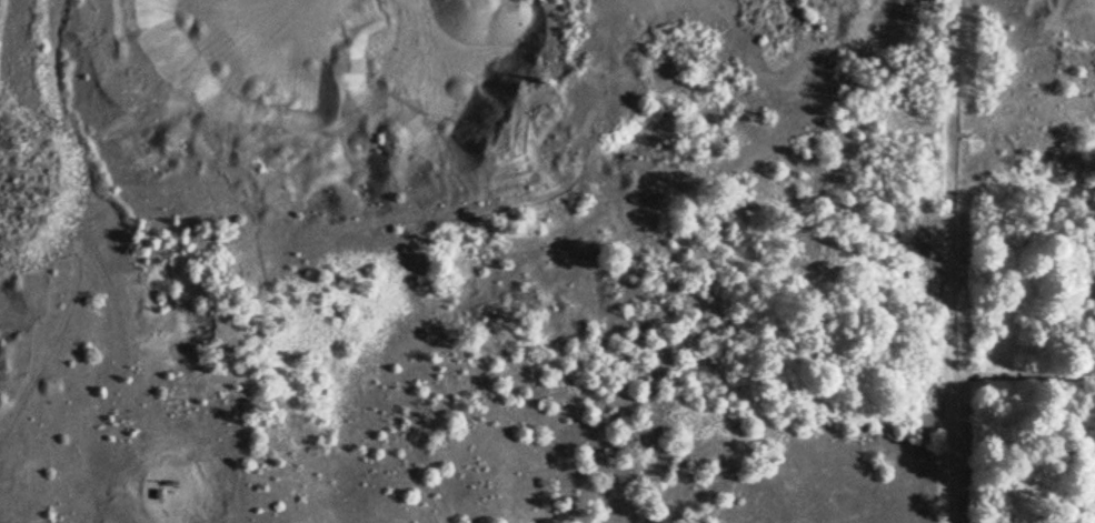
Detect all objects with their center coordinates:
quarry: (452, 260)
road: (949, 261)
road: (1022, 372)
road: (170, 435)
petroleum well: (169, 487)

